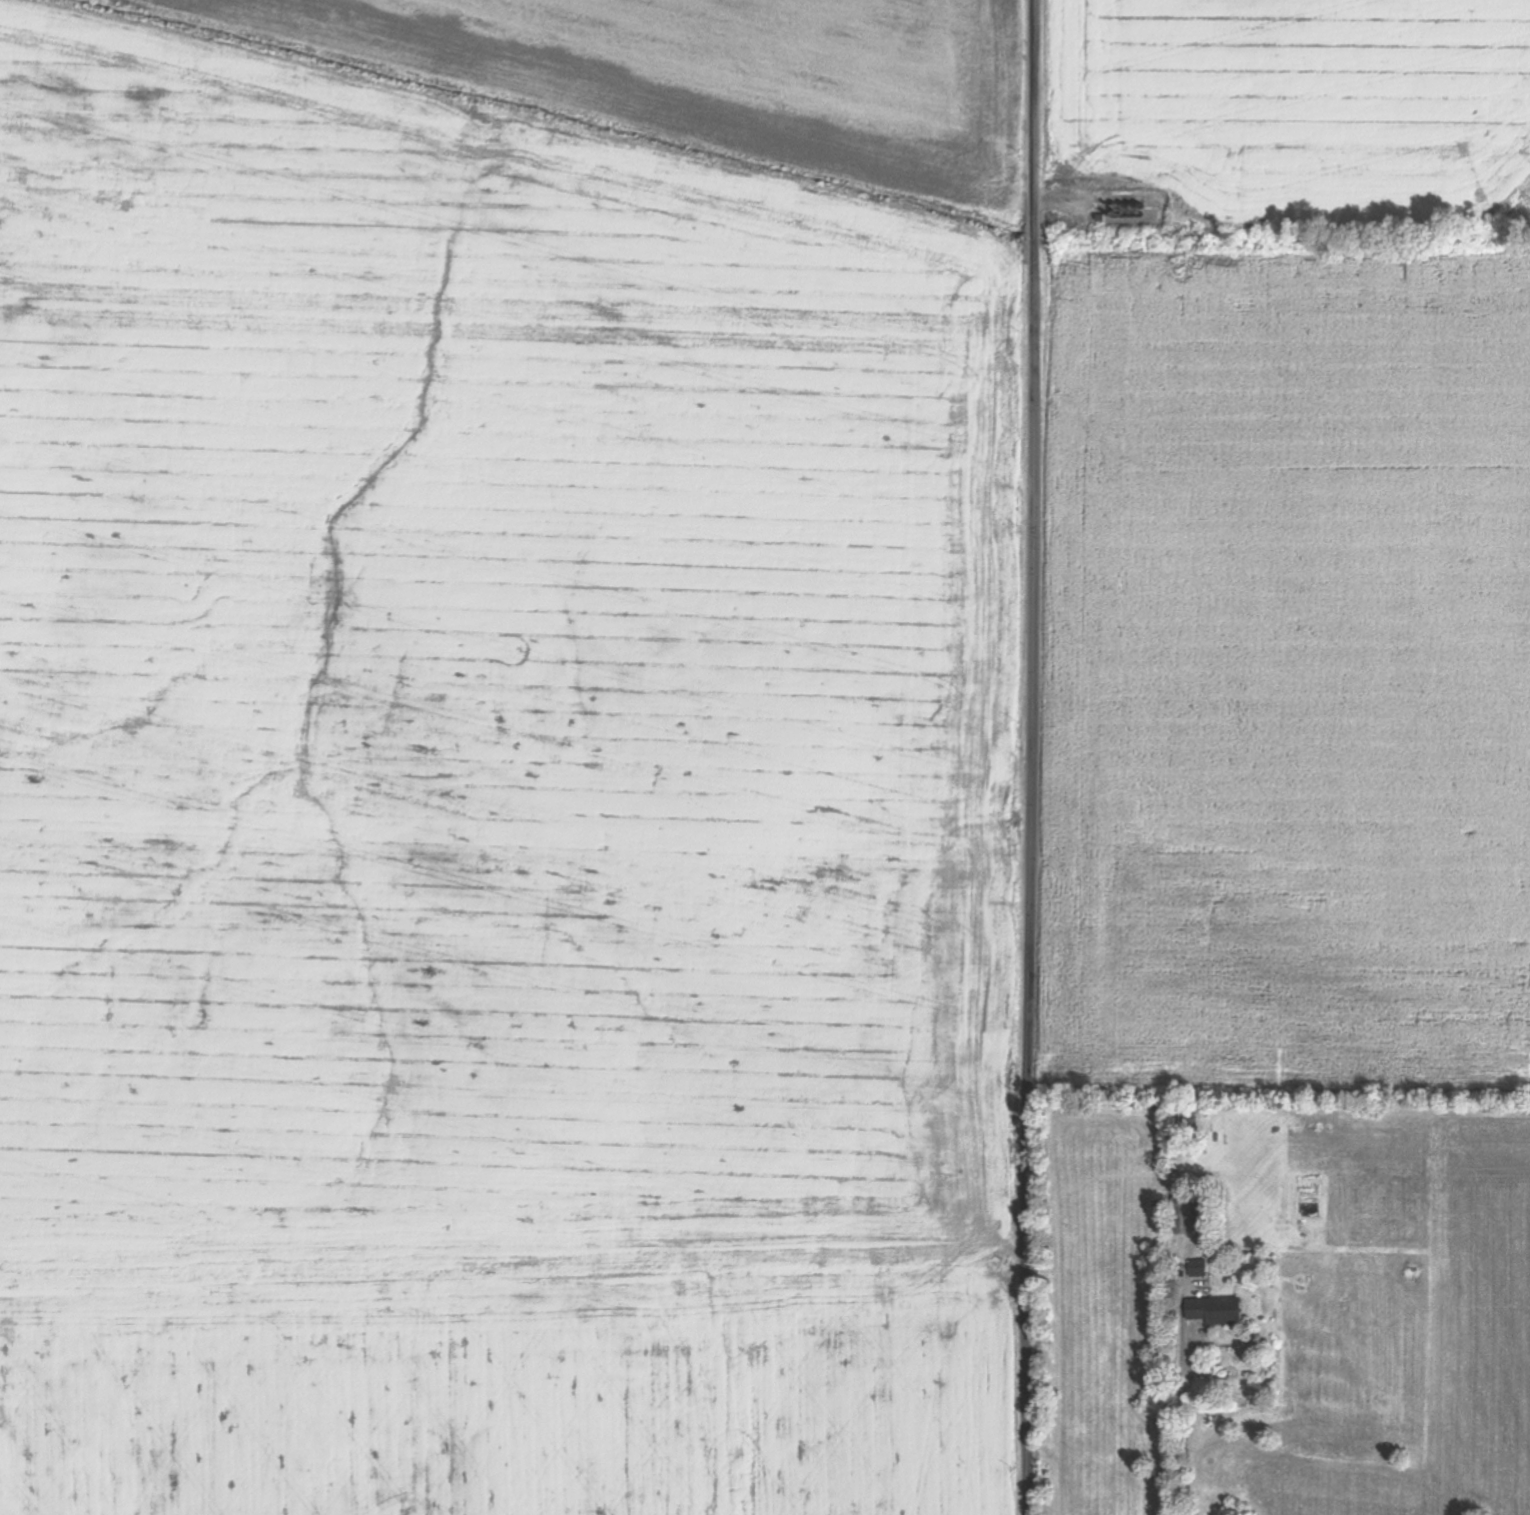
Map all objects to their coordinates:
road: (1029, 757)
building: (1181, 1215)
building: (1196, 1268)
building: (1213, 1311)

